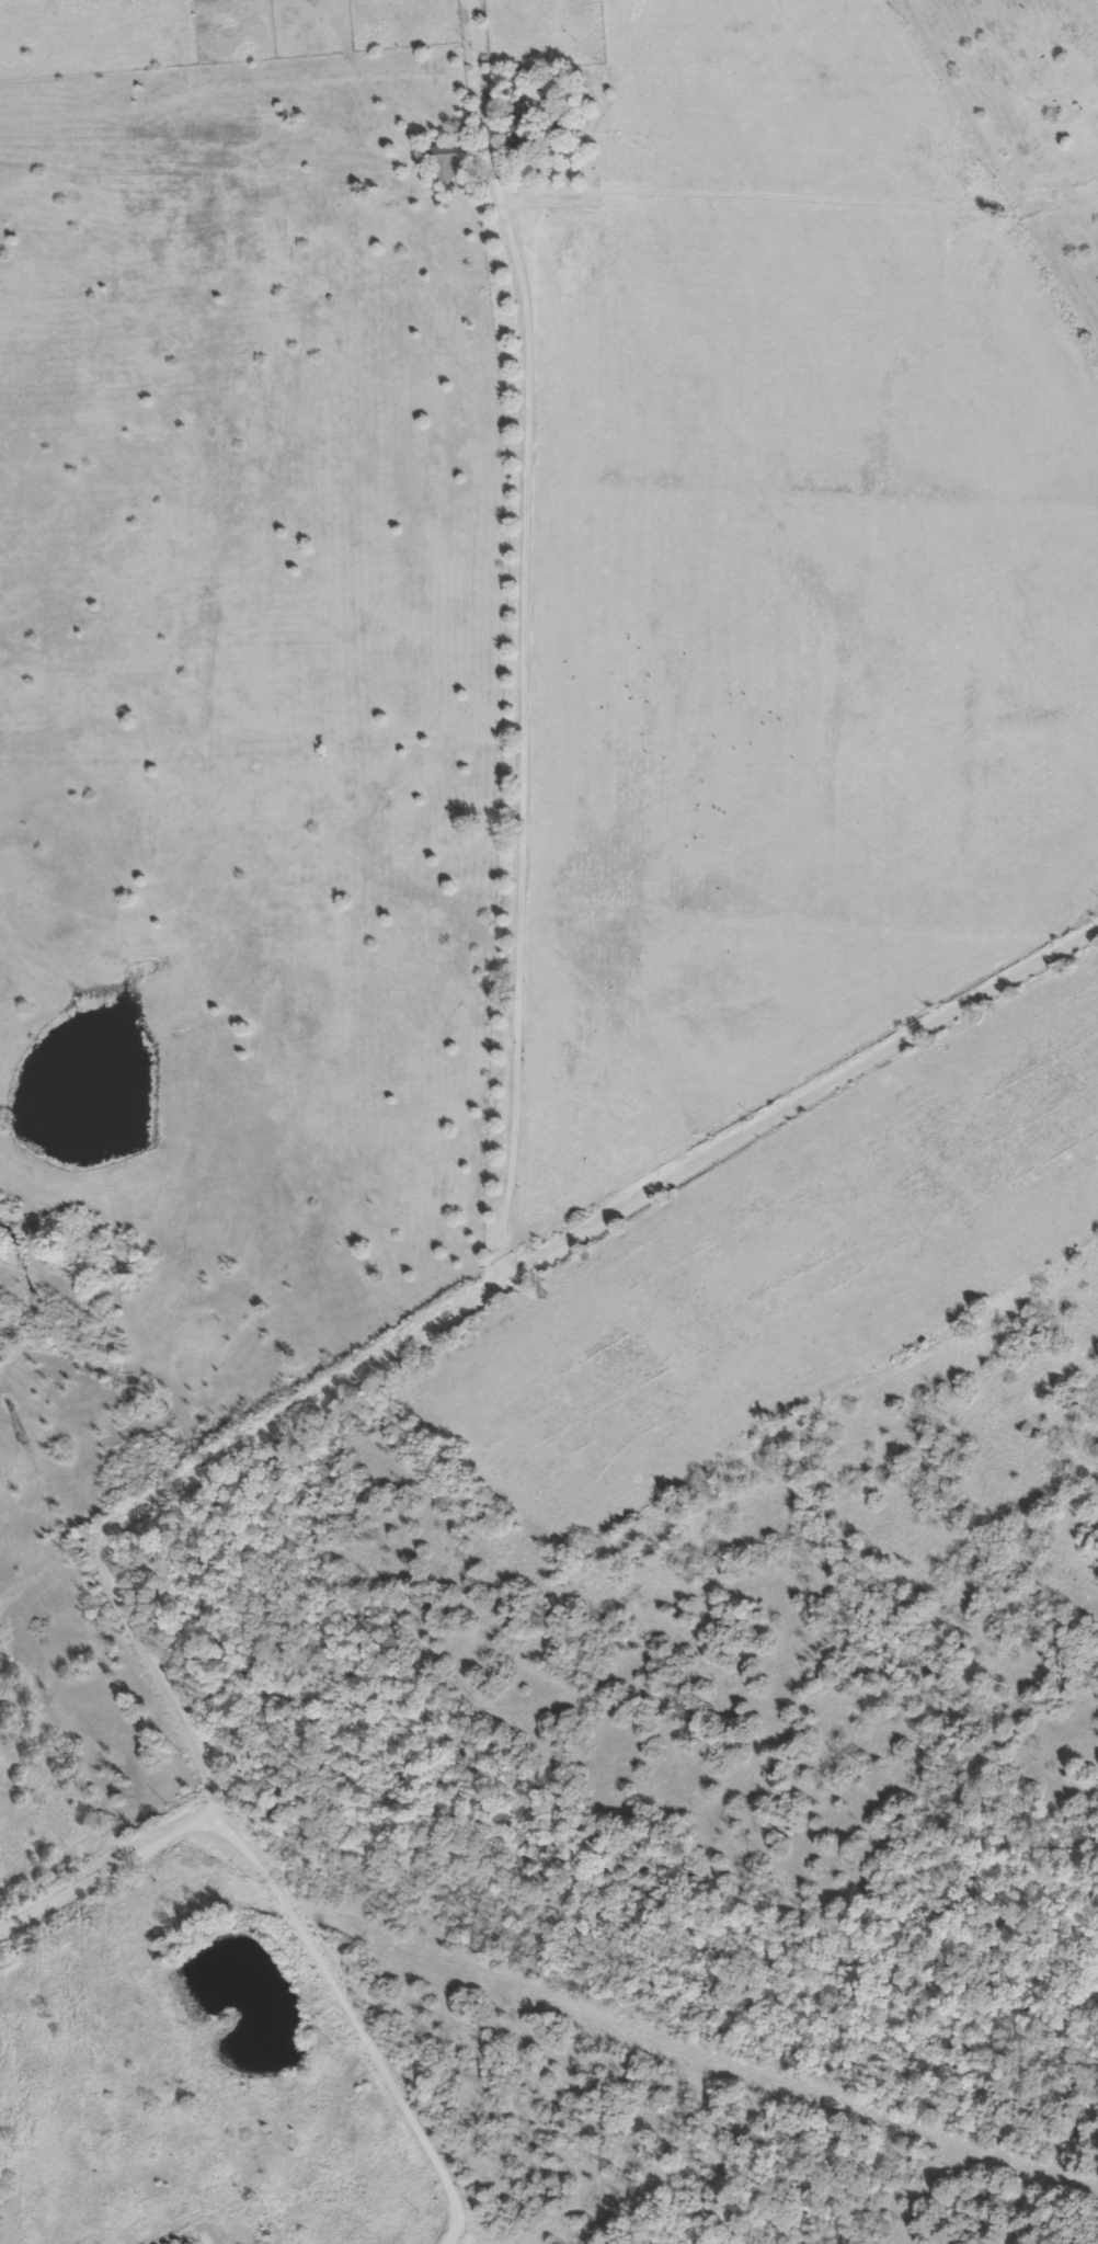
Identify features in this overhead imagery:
building: (528, 128)
building: (451, 155)
building: (458, 166)
road: (801, 198)
road: (525, 638)
road: (367, 1369)
road: (96, 2061)

